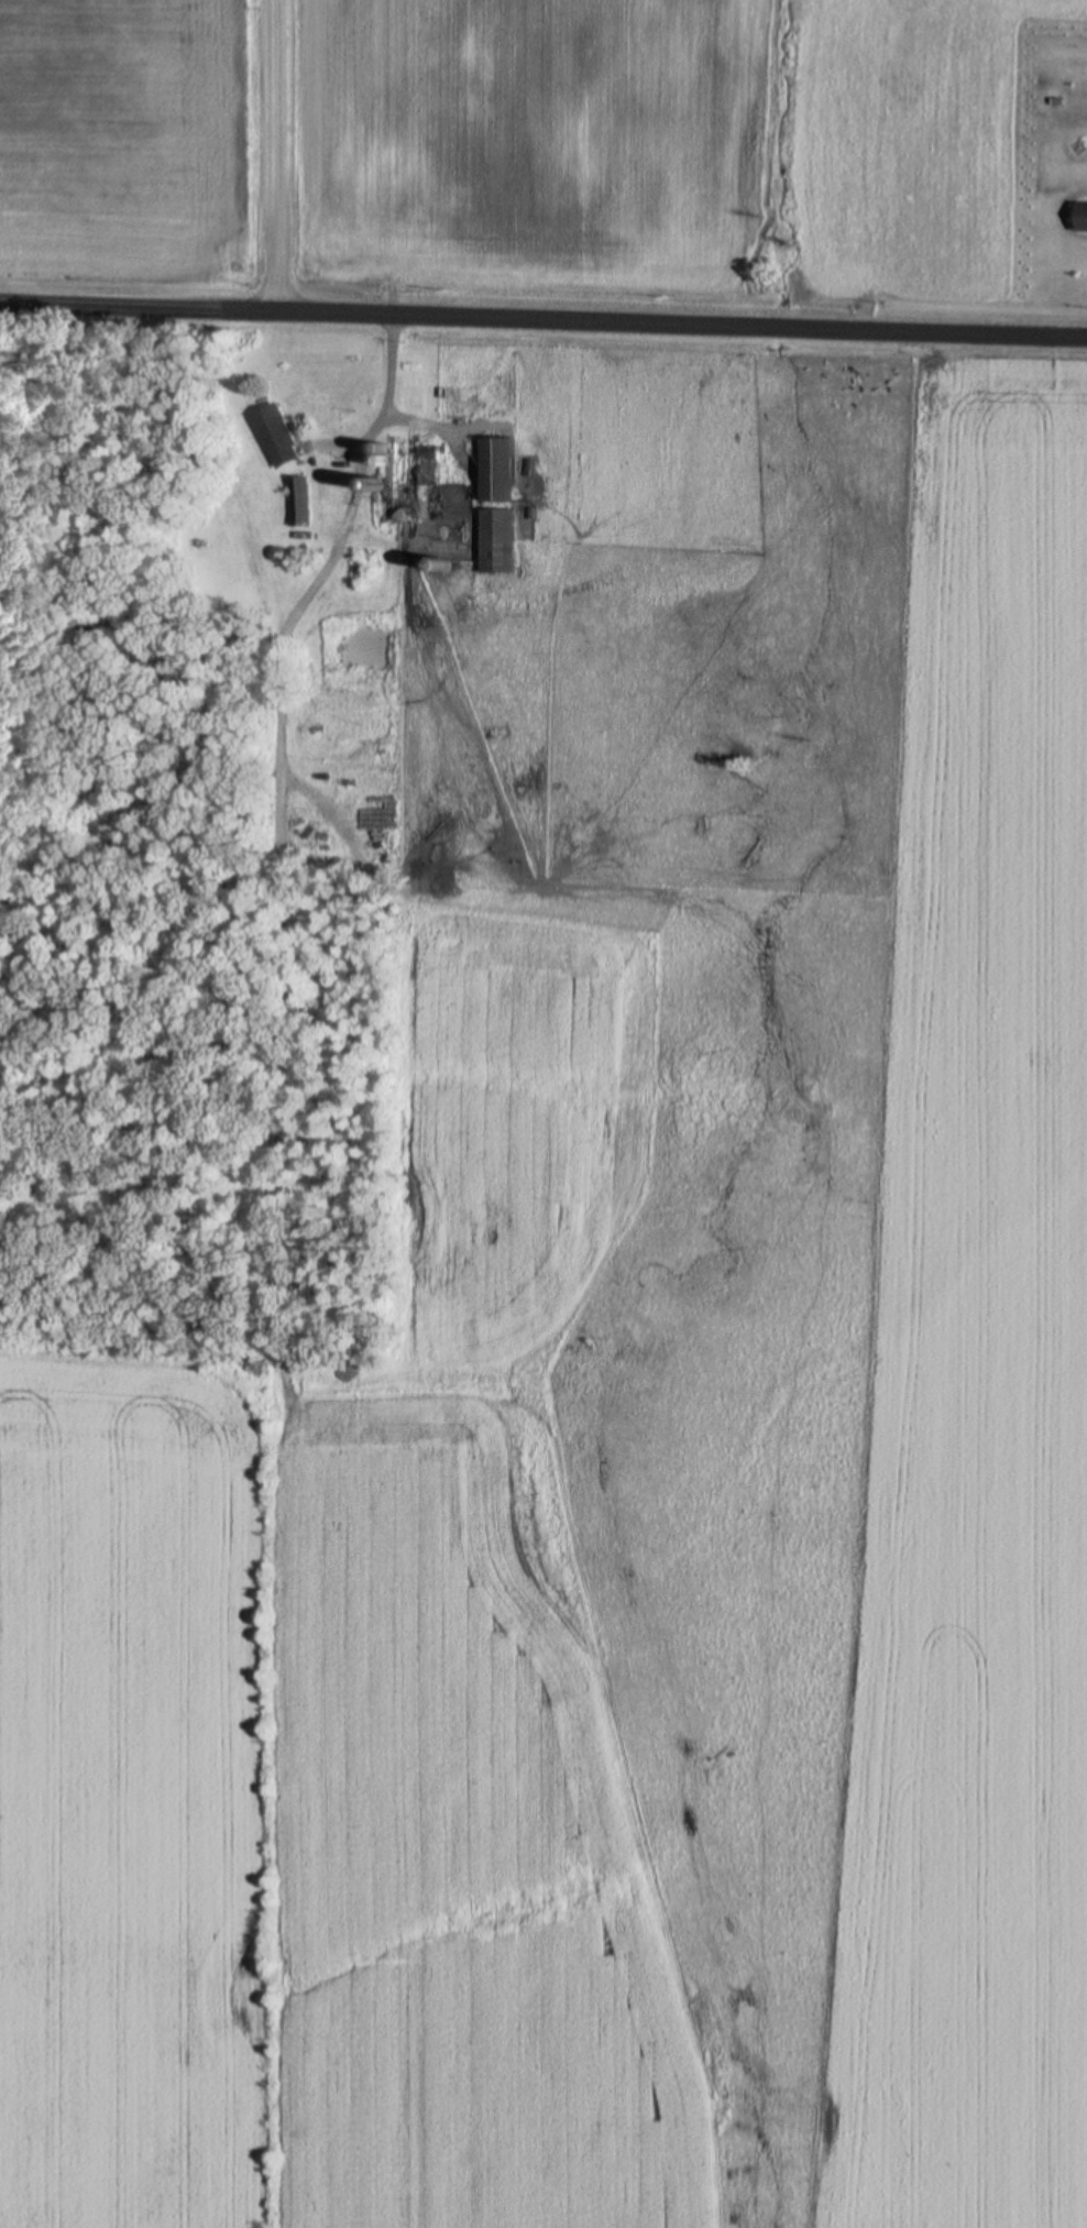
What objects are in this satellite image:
road: (279, 157)
building: (1079, 218)
road: (542, 325)
building: (274, 436)
building: (494, 471)
building: (410, 481)
building: (296, 503)
building: (494, 542)

